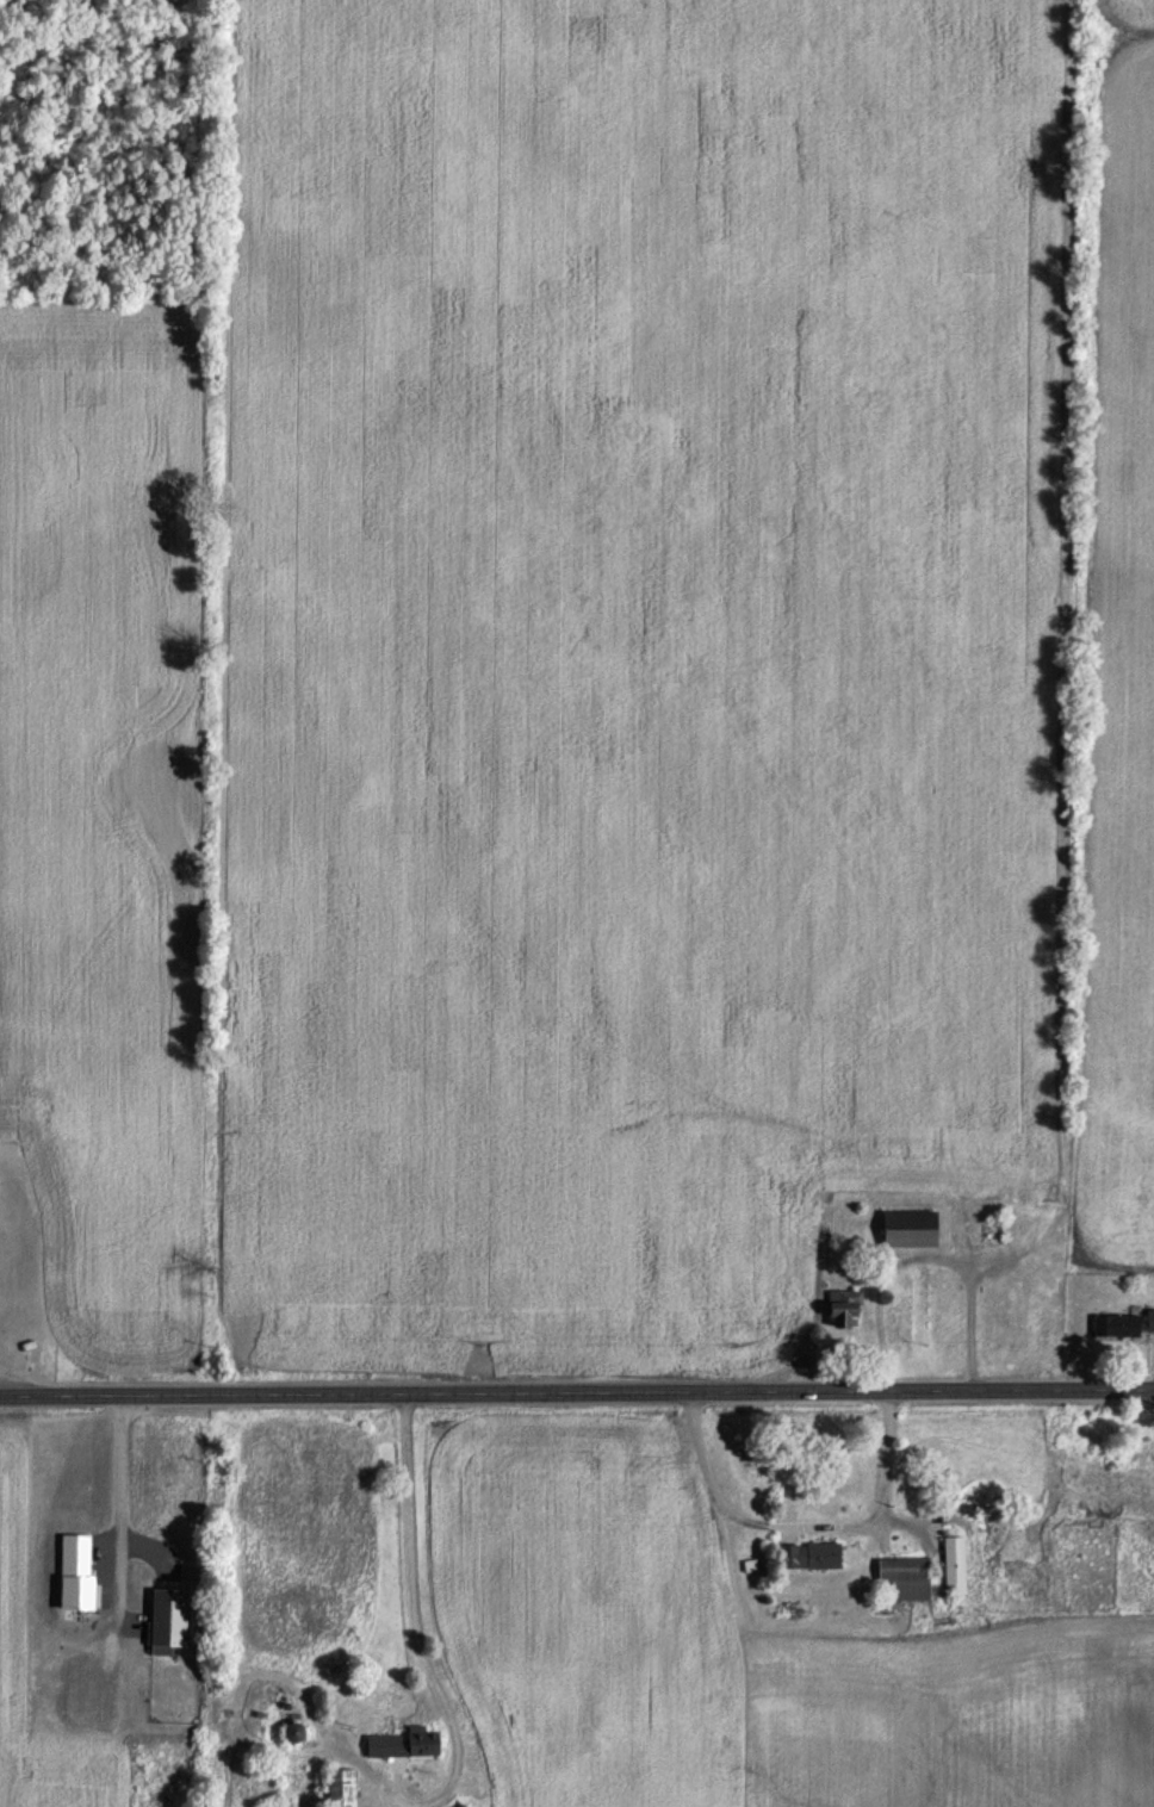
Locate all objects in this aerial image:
building: (906, 1234)
building: (840, 1314)
building: (1122, 1329)
road: (576, 1396)
road: (117, 1502)
road: (801, 1530)
building: (808, 1560)
building: (950, 1570)
building: (902, 1582)
road: (411, 1616)
building: (287, 1737)
building: (402, 1749)
building: (336, 1790)
road: (387, 1806)

